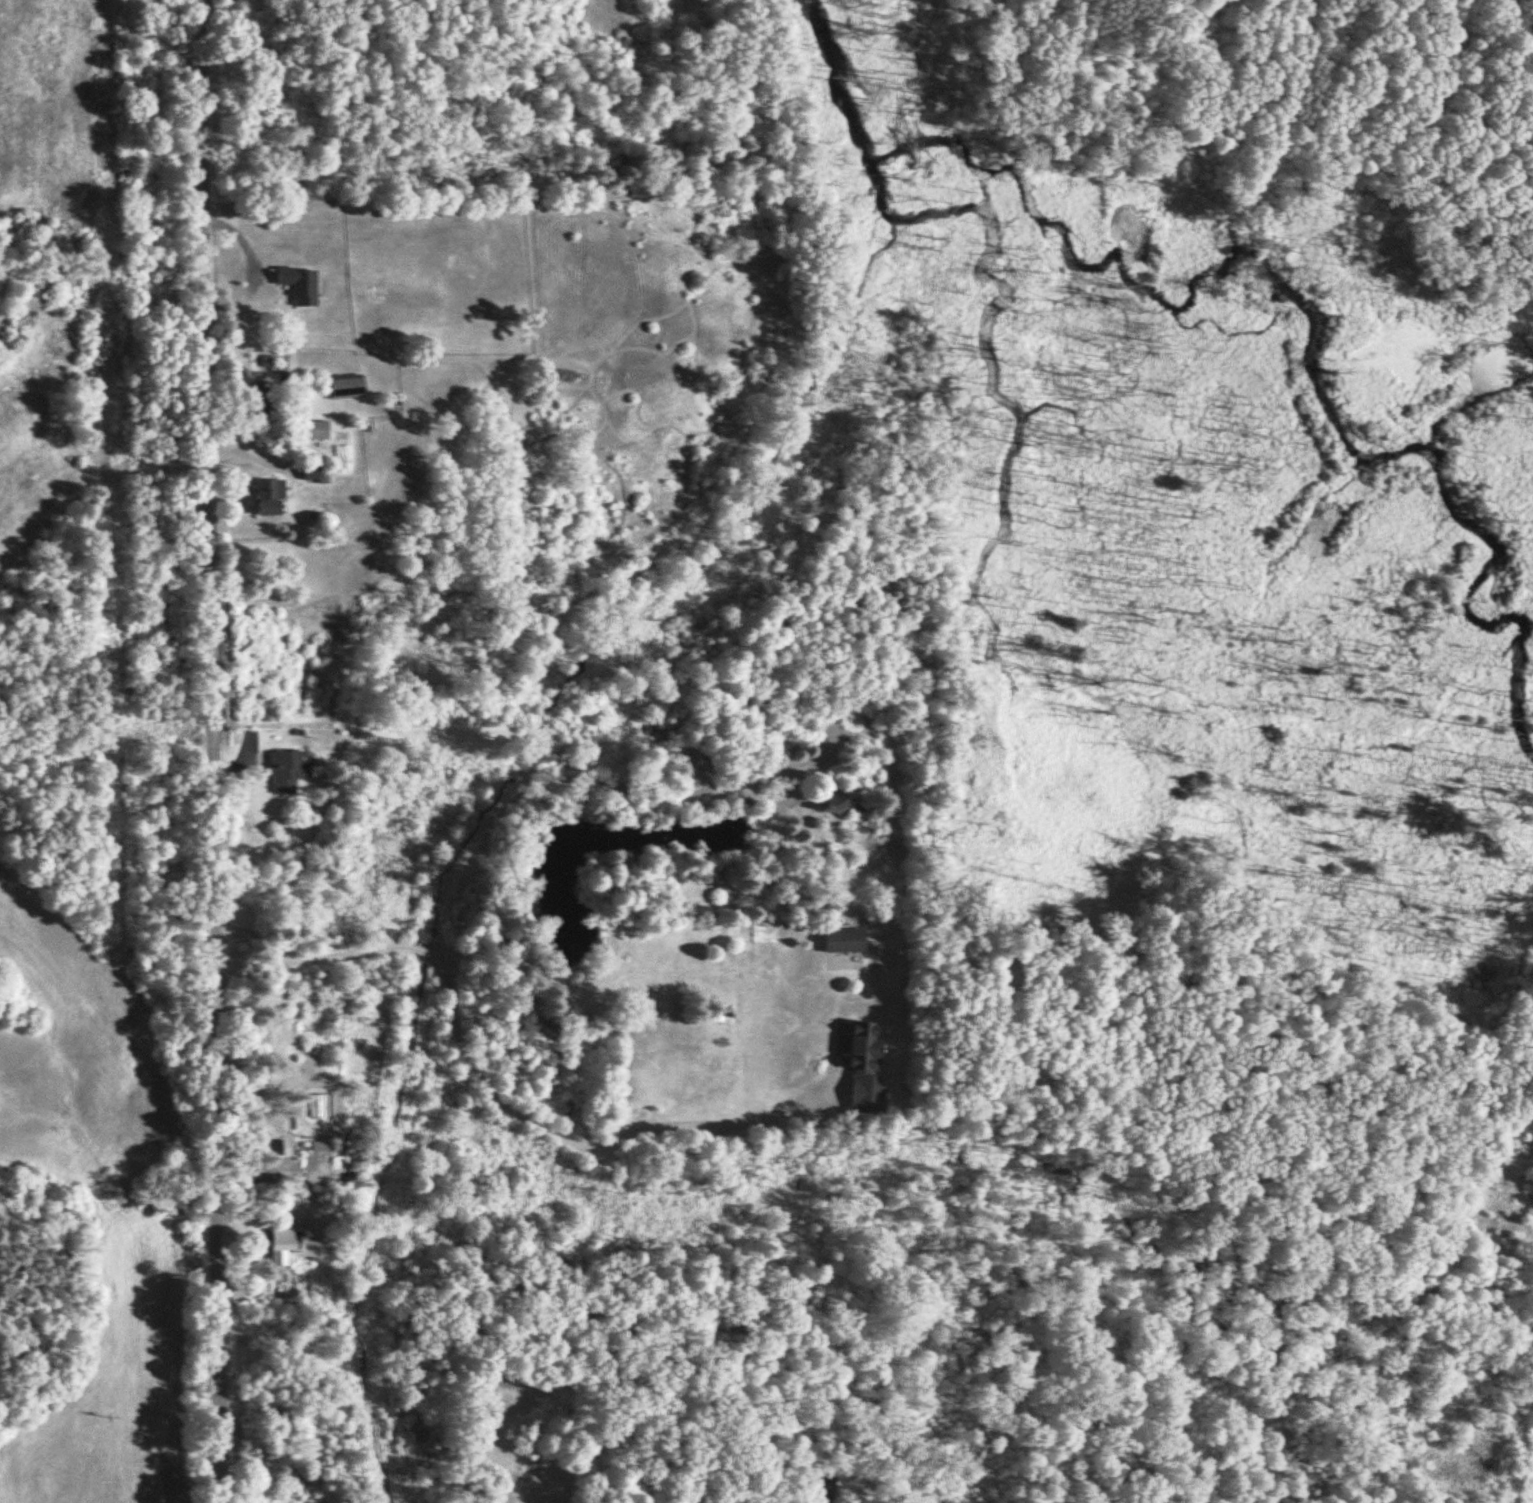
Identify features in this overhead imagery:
road: (1019, 115)
building: (53, 118)
building: (296, 283)
building: (313, 428)
building: (265, 495)
road: (204, 751)
building: (689, 759)
building: (283, 769)
building: (839, 802)
building: (840, 939)
building: (855, 1044)
crop: (71, 1050)
road: (483, 1089)
building: (277, 1244)
crop: (105, 1394)
building: (823, 1489)

